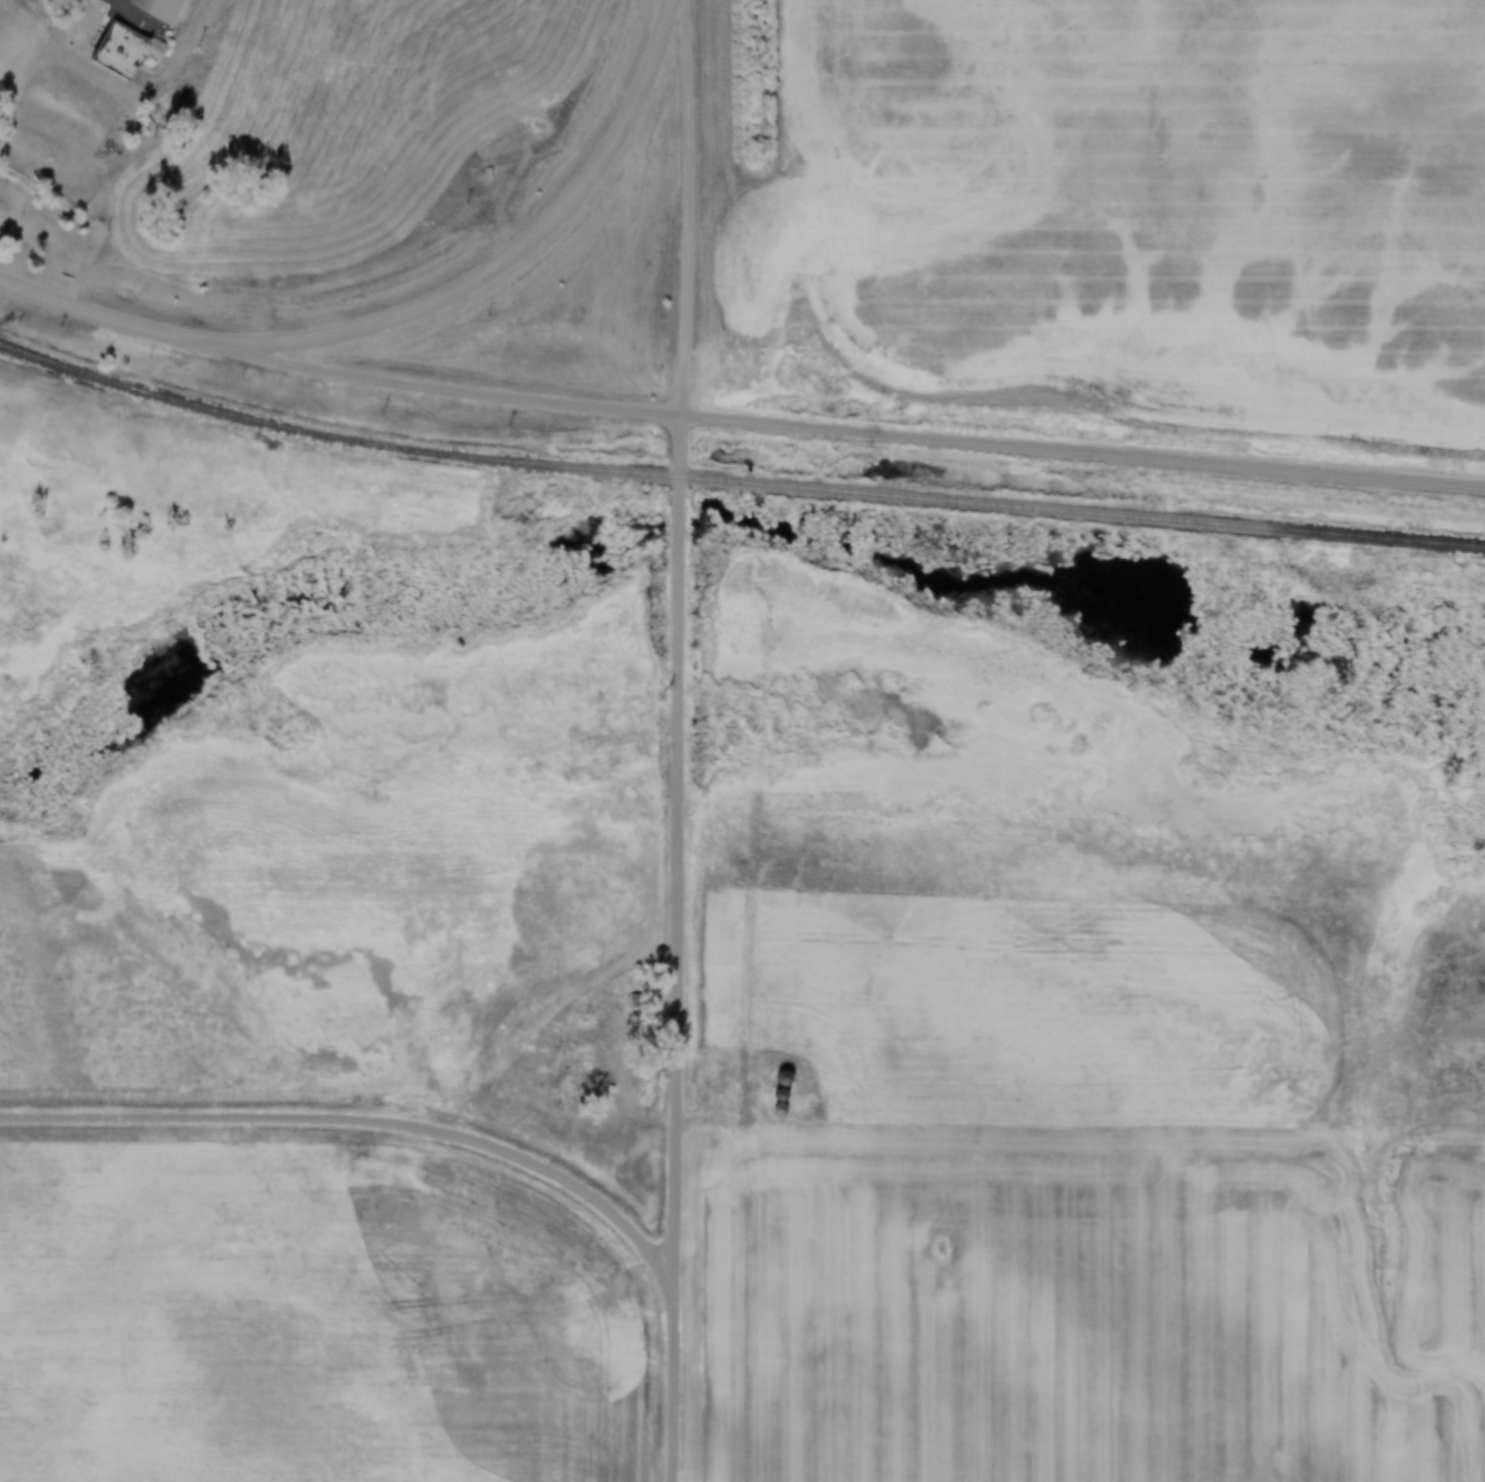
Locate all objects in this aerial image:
building: (157, 12)
building: (135, 47)
road: (123, 95)
building: (482, 174)
road: (512, 257)
road: (108, 317)
road: (450, 386)
road: (1084, 449)
railway: (736, 477)
road: (680, 740)
building: (636, 1001)
building: (784, 1077)
building: (791, 1077)
silo: (791, 1077)
building: (788, 1094)
silo: (788, 1094)
building: (785, 1109)
silo: (785, 1109)
road: (362, 1119)

